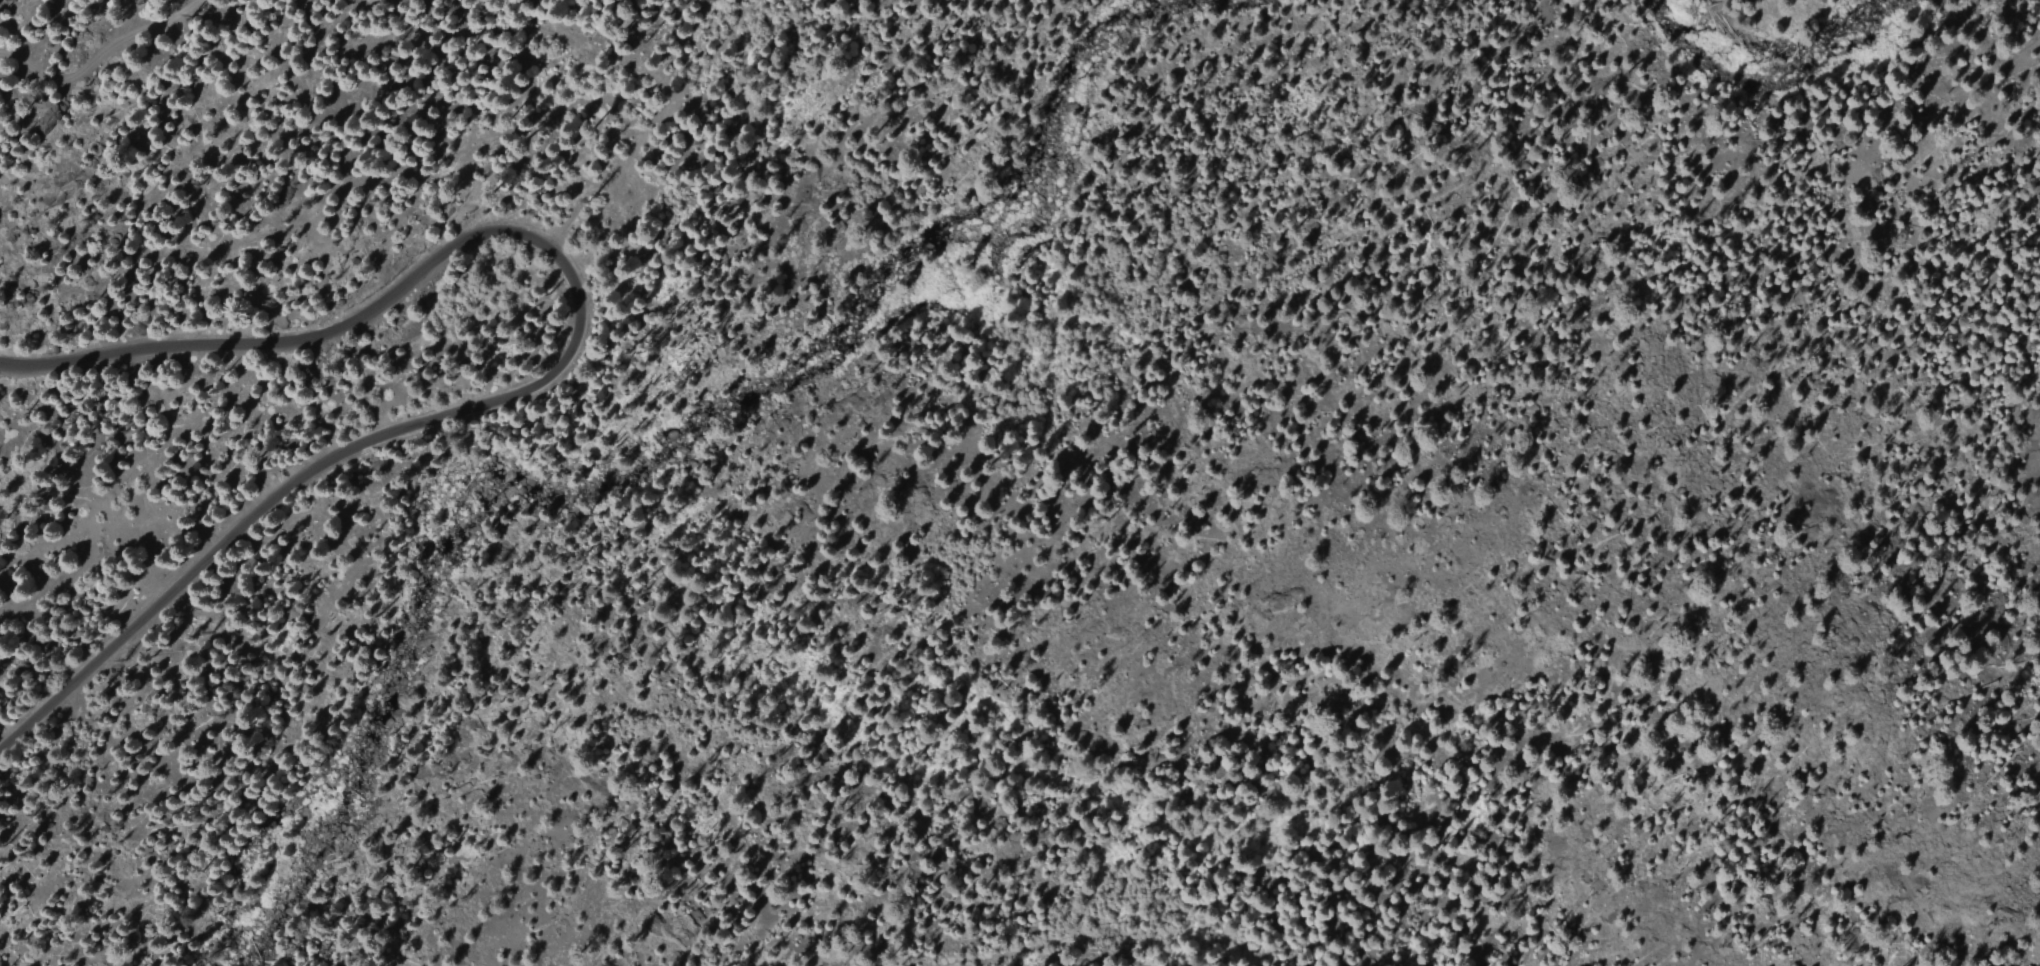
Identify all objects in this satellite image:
road: (92, 64)
road: (700, 166)
road: (315, 331)
road: (284, 480)
road: (751, 943)

